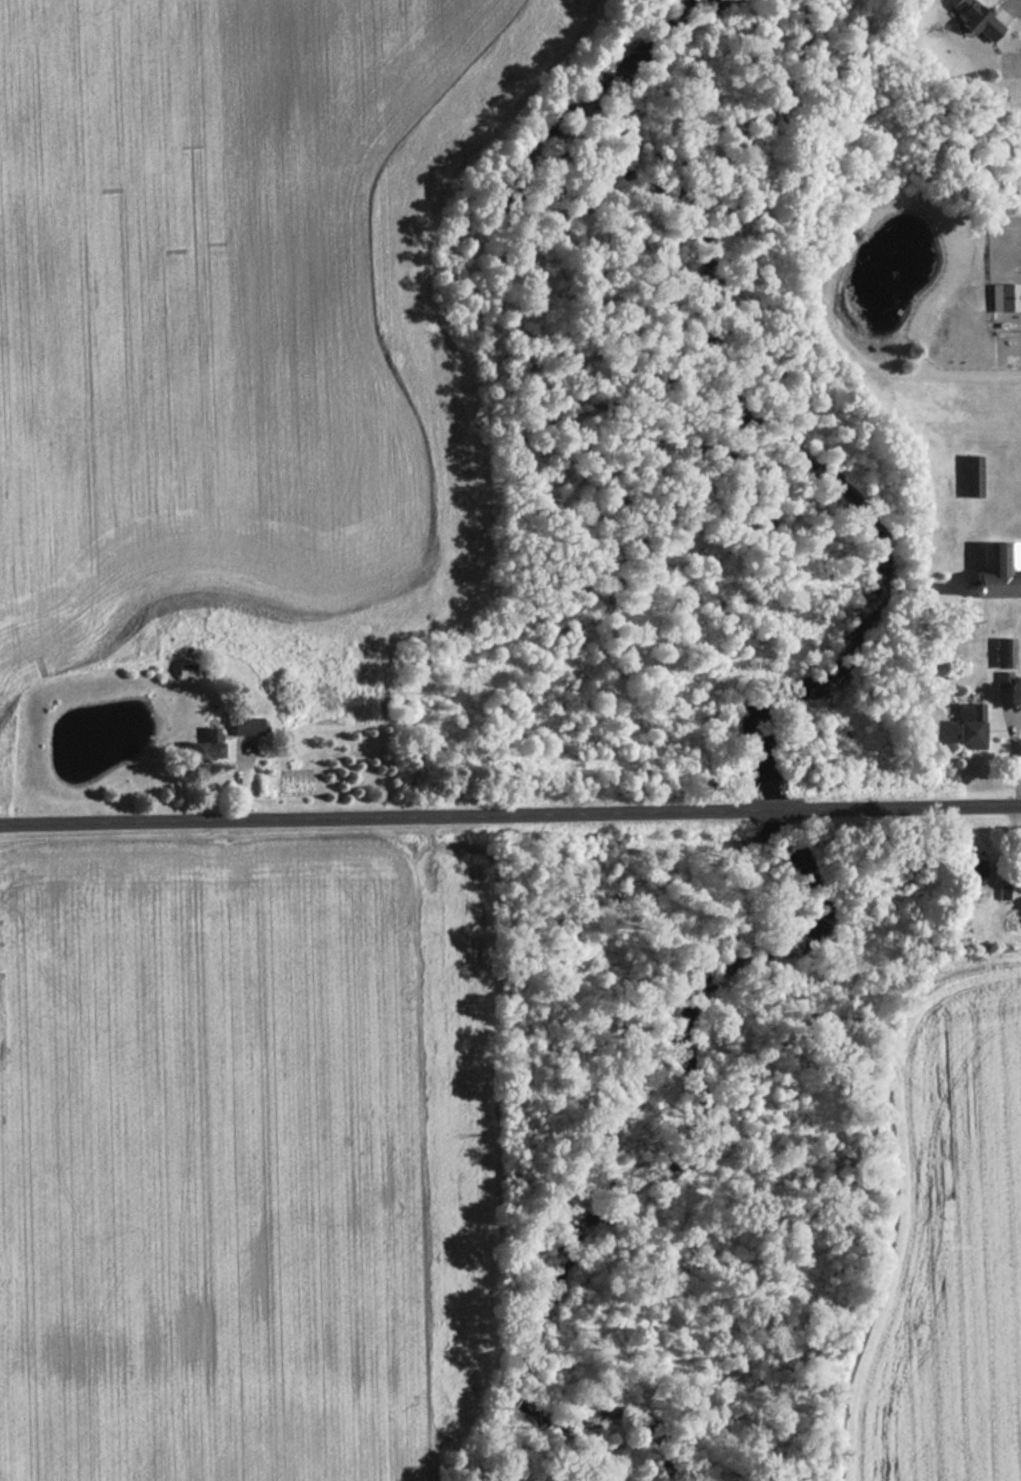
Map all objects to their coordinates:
building: (971, 18)
building: (996, 298)
crop: (203, 303)
building: (968, 476)
building: (997, 571)
building: (242, 727)
building: (967, 728)
building: (206, 735)
road: (1011, 754)
road: (510, 809)
building: (968, 871)
crop: (204, 1164)
crop: (950, 1246)

